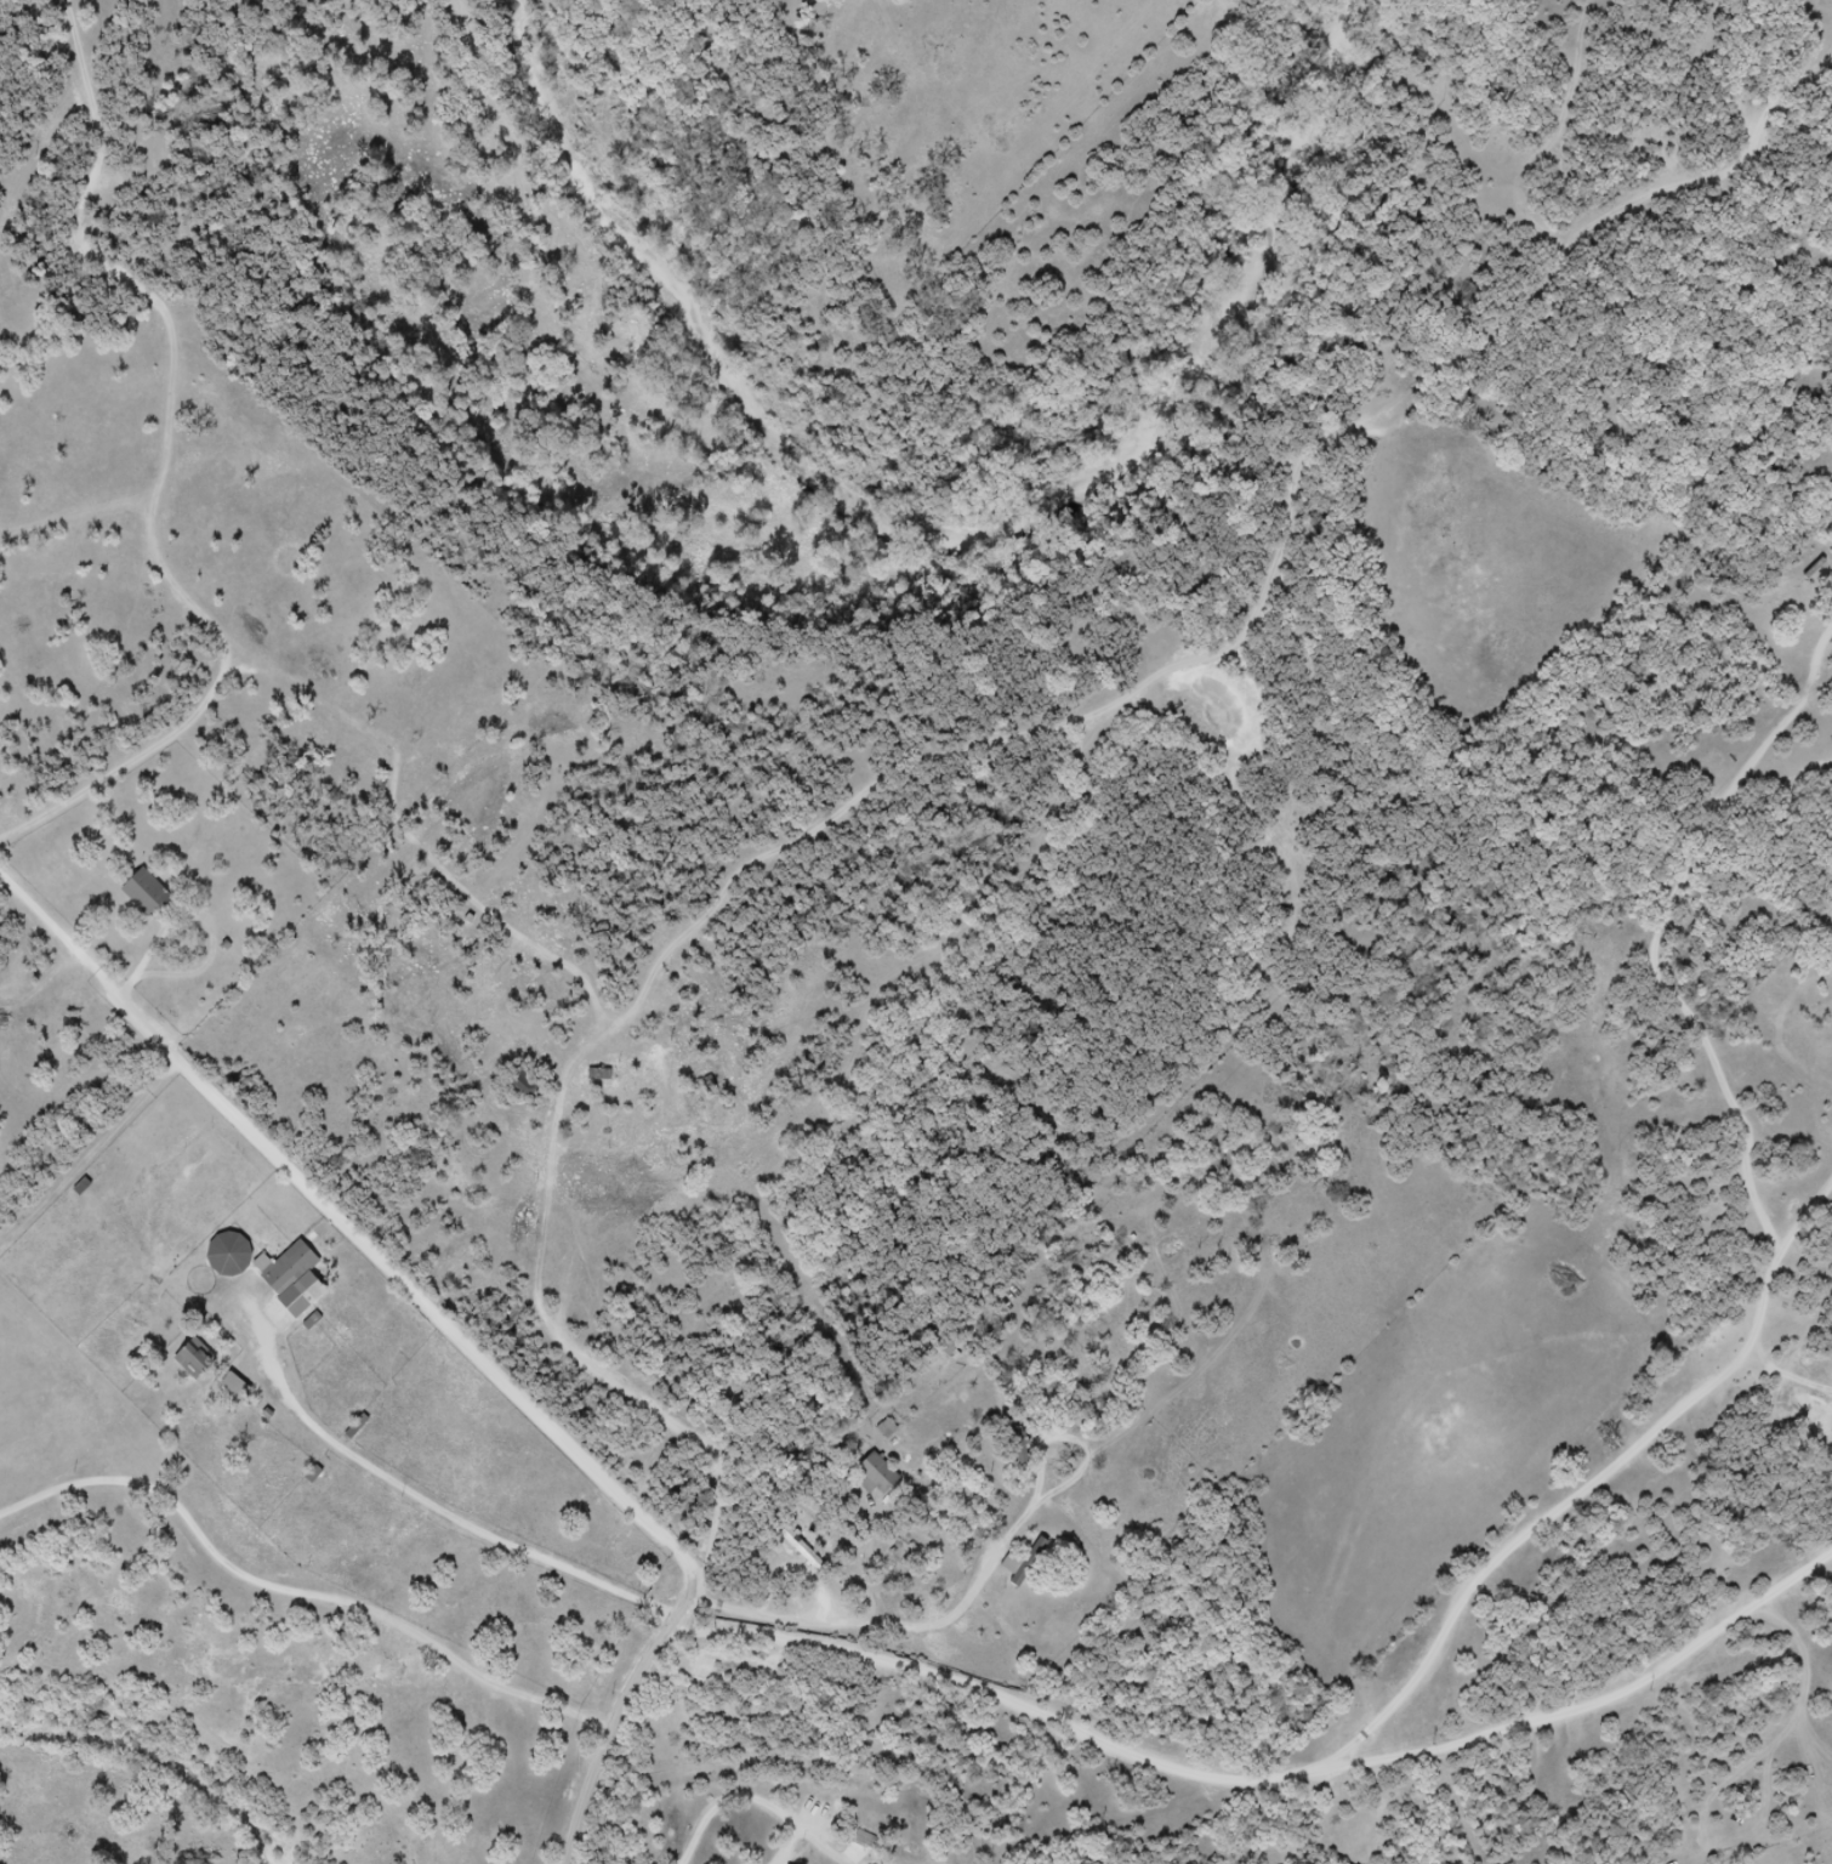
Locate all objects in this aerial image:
building: (154, 899)
building: (238, 1262)
building: (301, 1286)
road: (411, 1286)
building: (197, 1360)
building: (238, 1388)
building: (1023, 1440)
building: (876, 1476)
road: (434, 1506)
building: (1031, 1564)
road: (301, 1593)
road: (615, 1741)
road: (1267, 1775)
road: (755, 1801)
building: (875, 1846)

